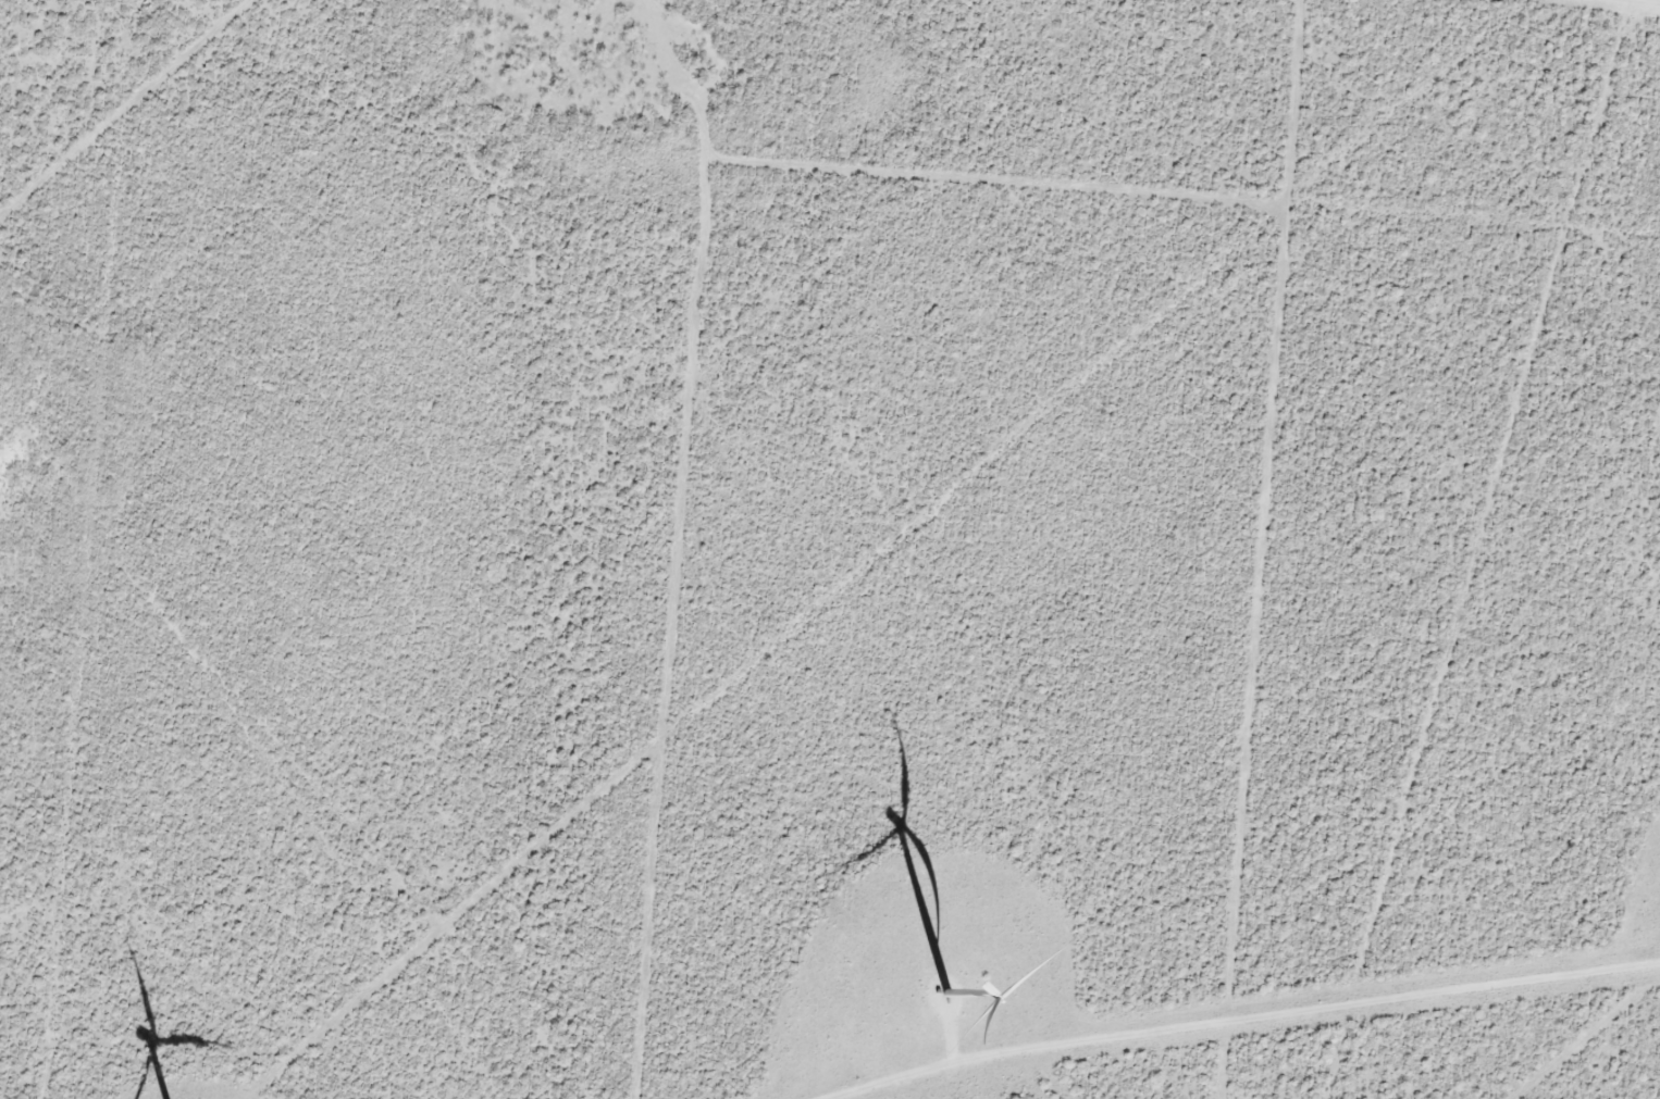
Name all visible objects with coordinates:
road: (1507, 549)
road: (4, 691)
wind turbine: (929, 1012)

